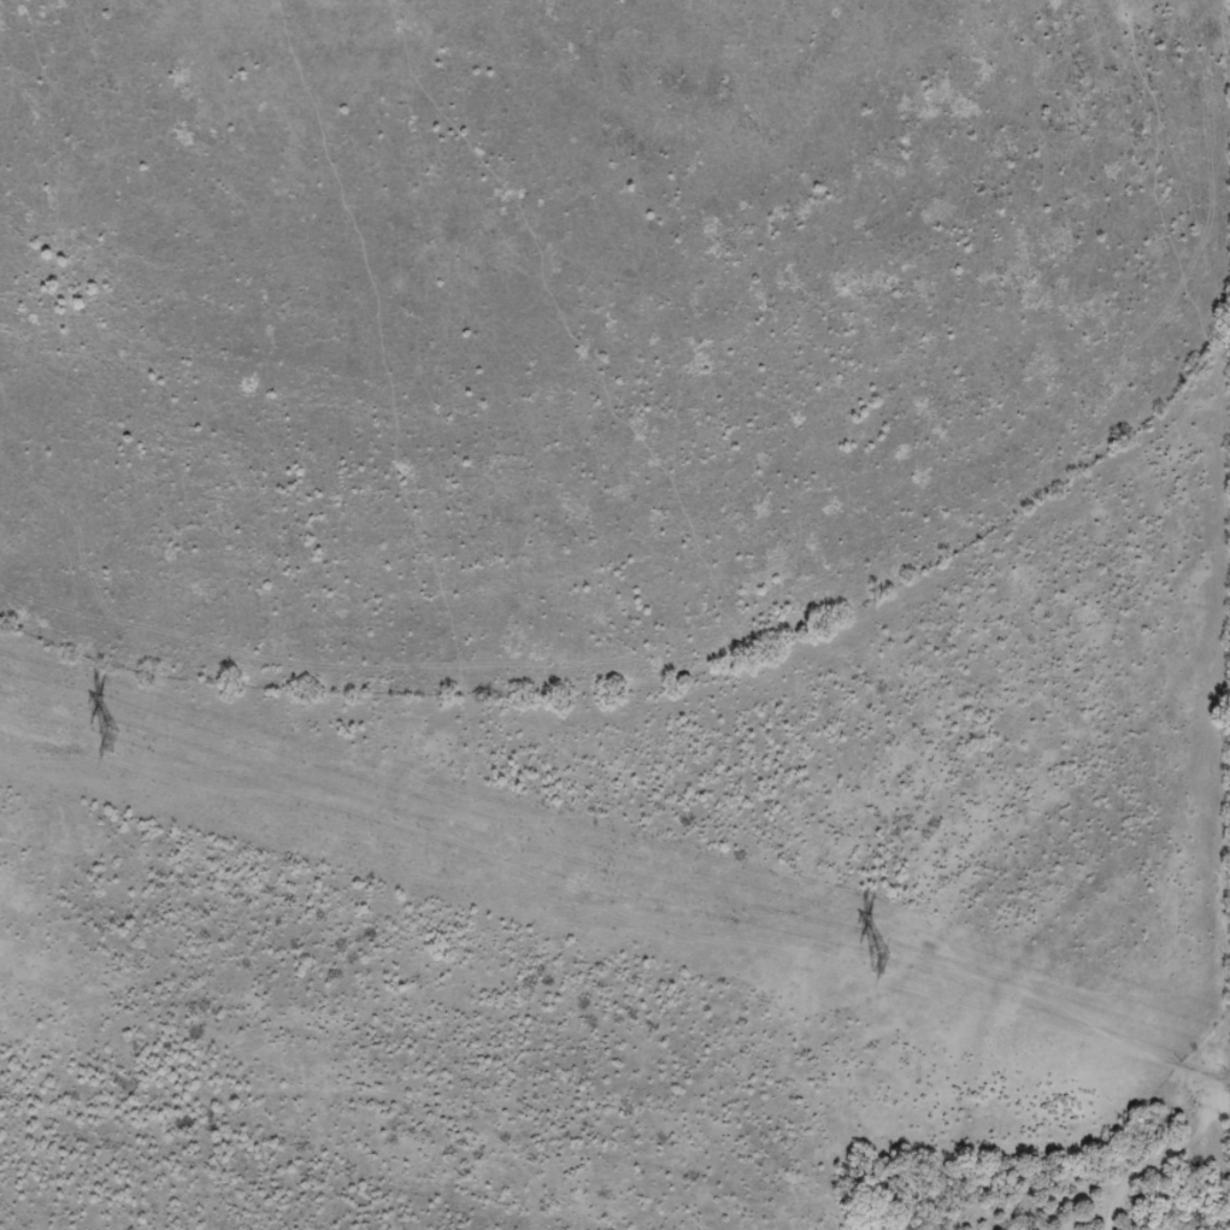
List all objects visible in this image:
power tower: (105, 738)
power tower: (876, 961)

